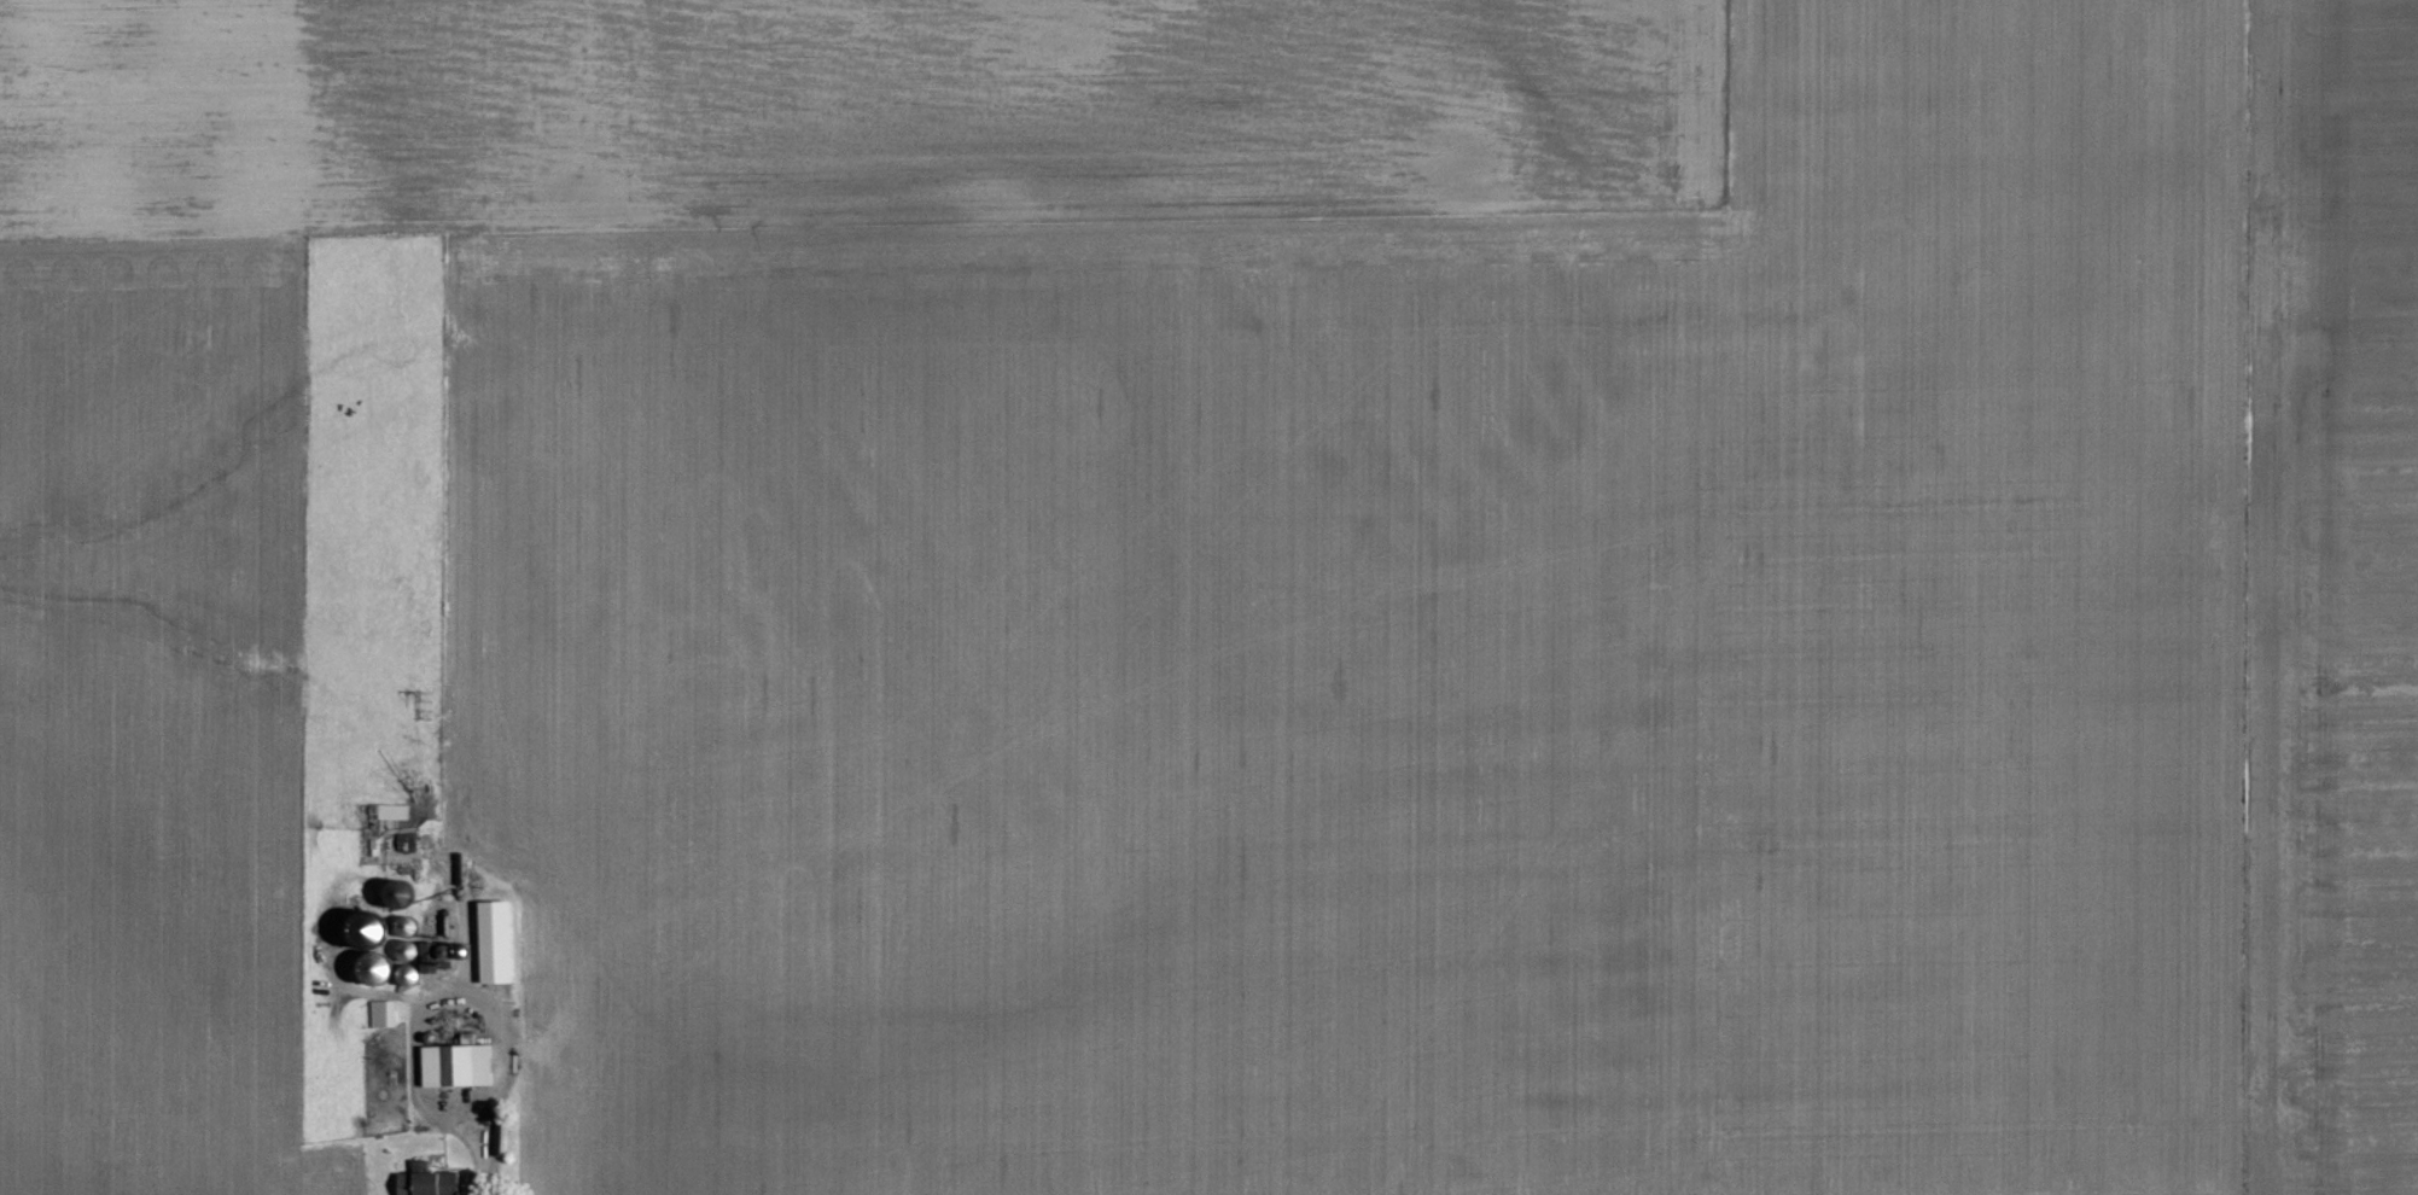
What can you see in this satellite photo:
building: (389, 812)
building: (495, 944)
building: (383, 1015)
building: (456, 1067)
building: (435, 1184)

